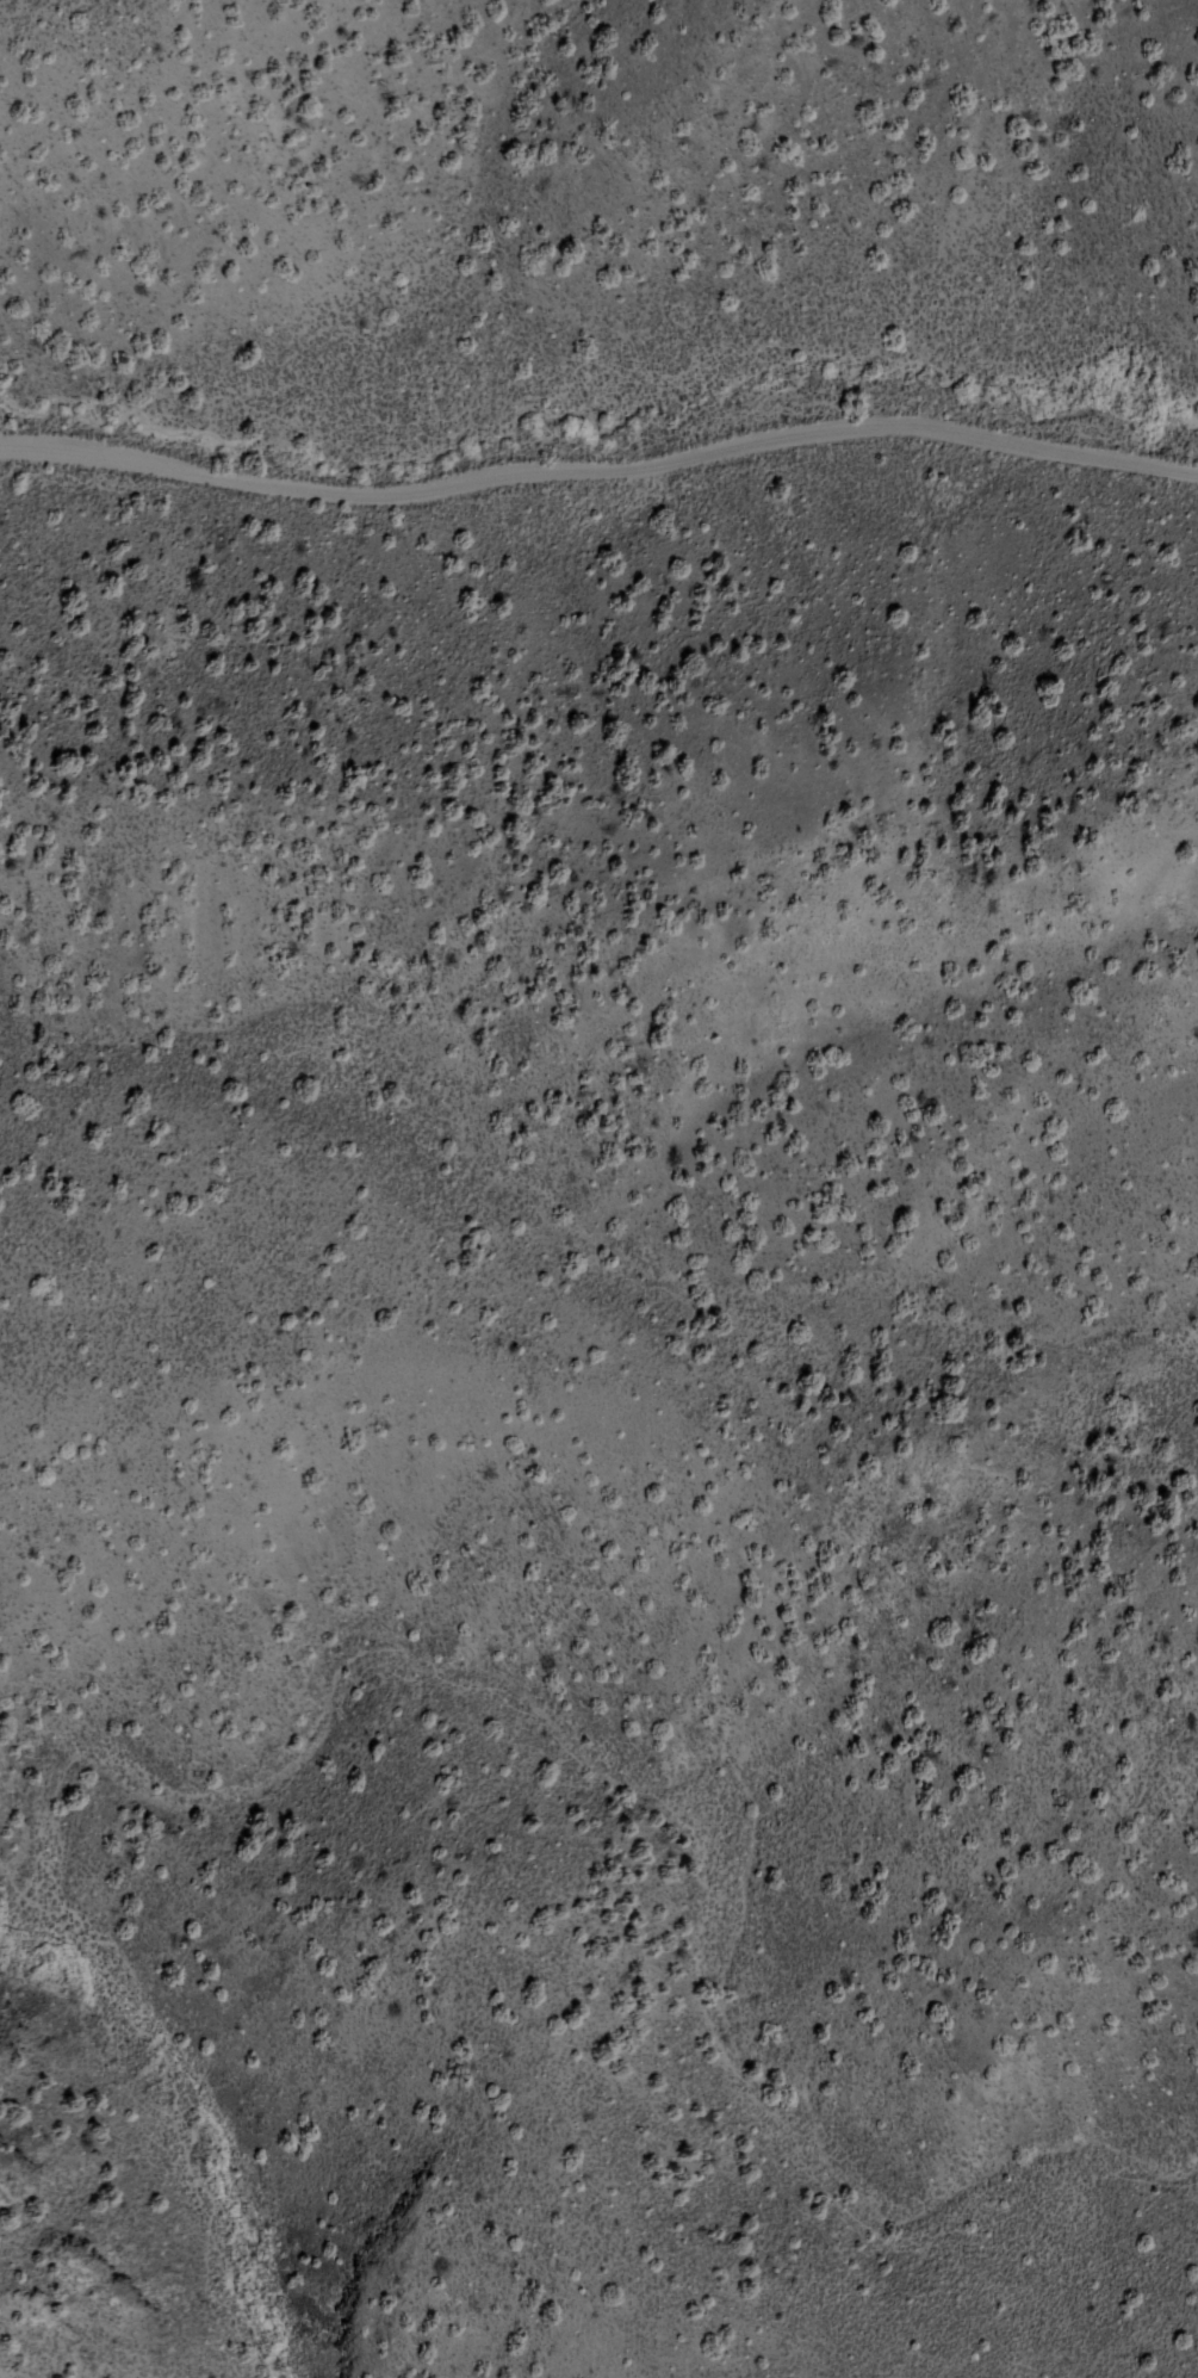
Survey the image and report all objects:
road: (600, 478)

